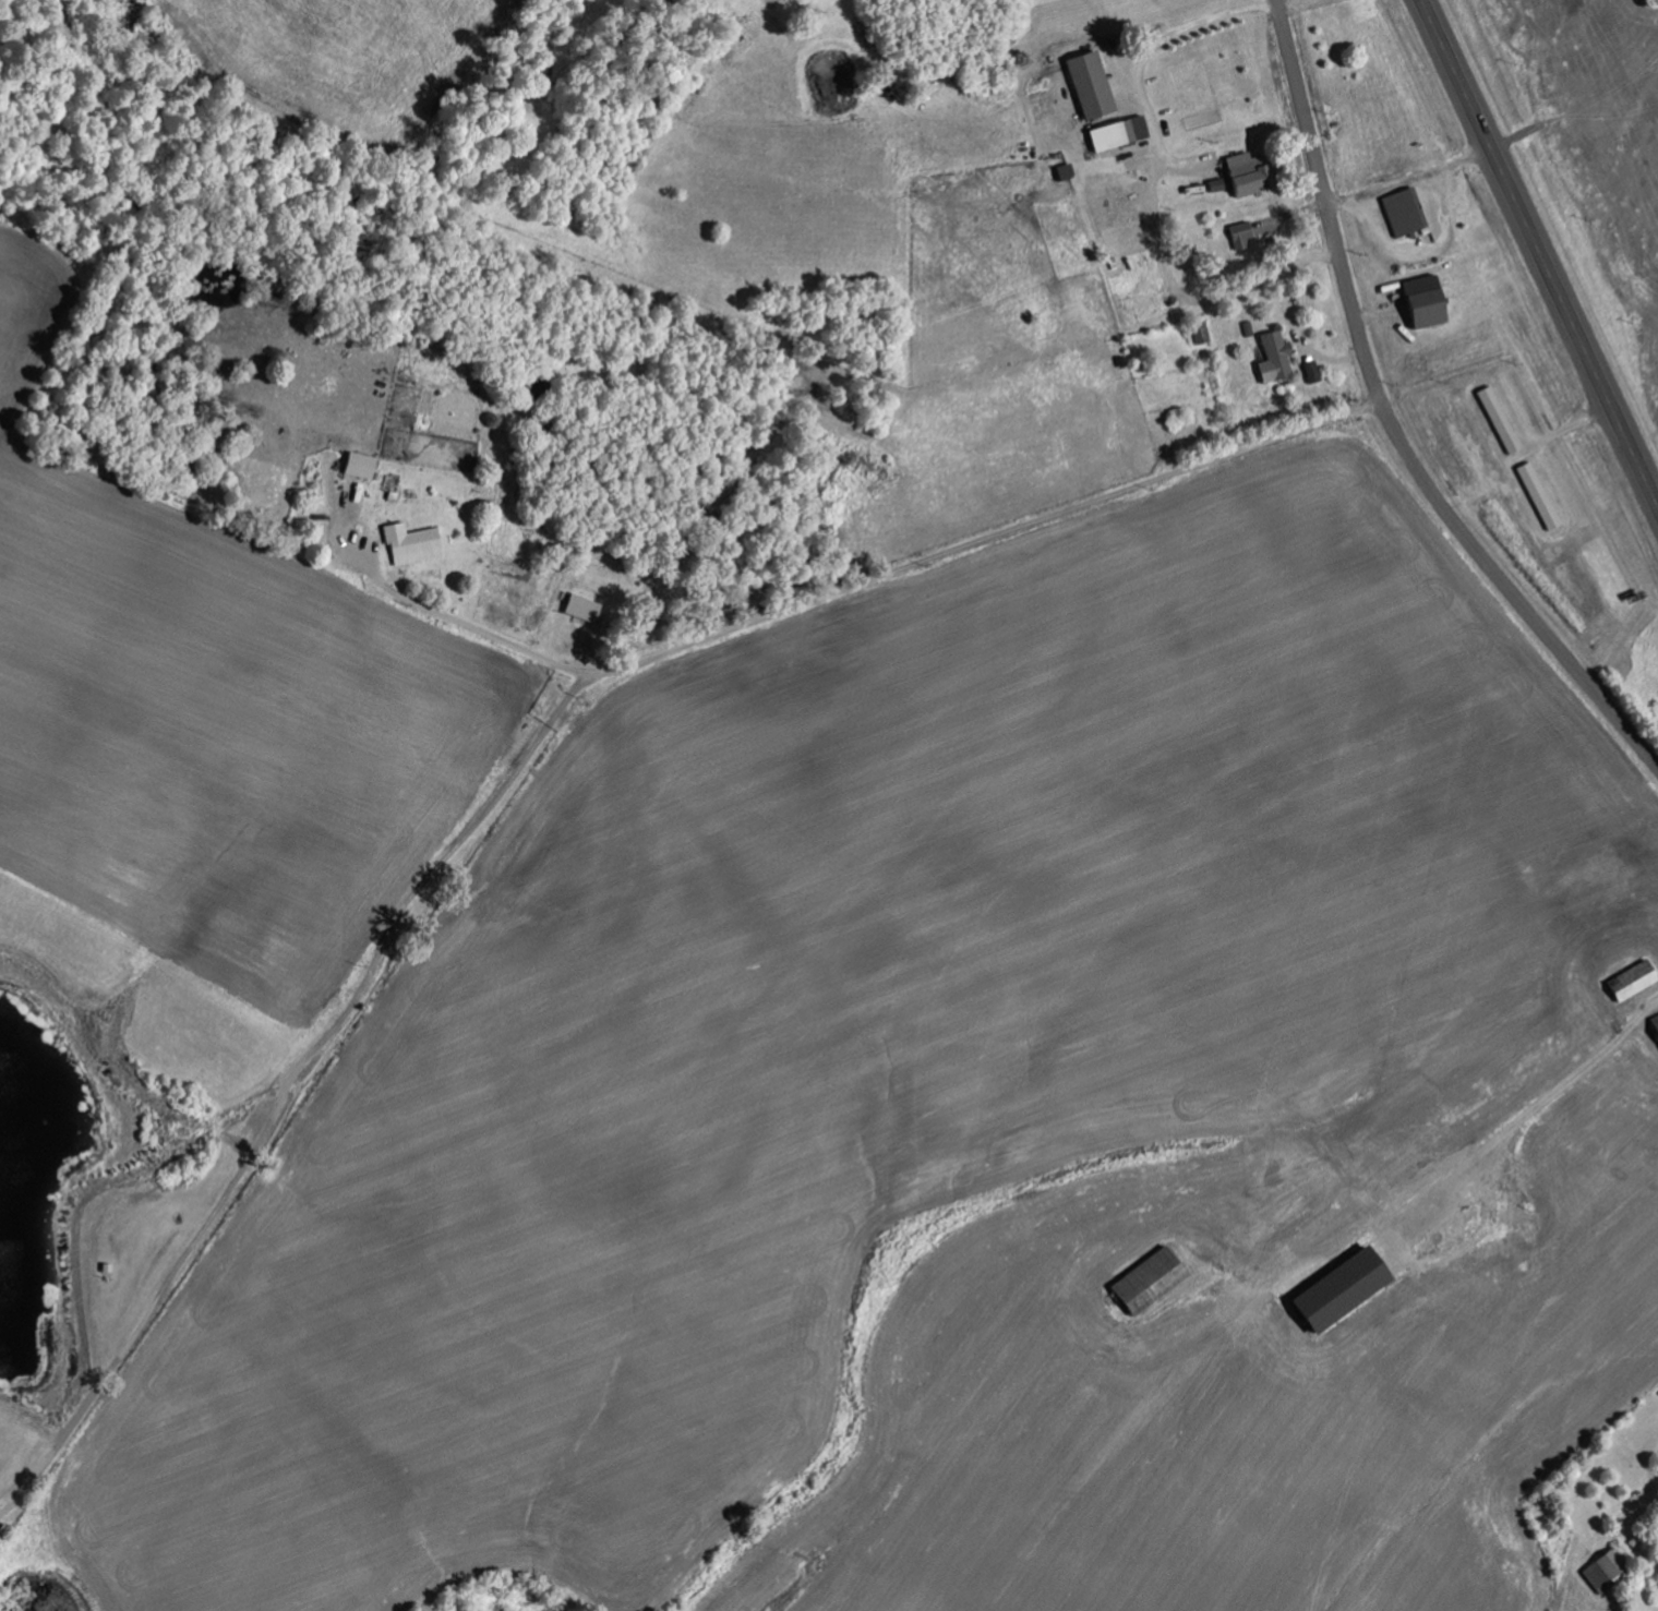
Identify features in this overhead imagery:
building: (1086, 85)
building: (1115, 133)
building: (1239, 176)
building: (1213, 185)
building: (1403, 212)
building: (1246, 235)
road: (1538, 253)
building: (1418, 302)
building: (1200, 330)
building: (1272, 357)
building: (1310, 370)
building: (1495, 418)
road: (1390, 424)
building: (357, 465)
building: (1535, 494)
building: (409, 543)
road: (890, 575)
building: (580, 609)
building: (1630, 981)
building: (1654, 1024)
road: (296, 1089)
building: (1143, 1281)
building: (1333, 1290)
building: (1602, 1572)

